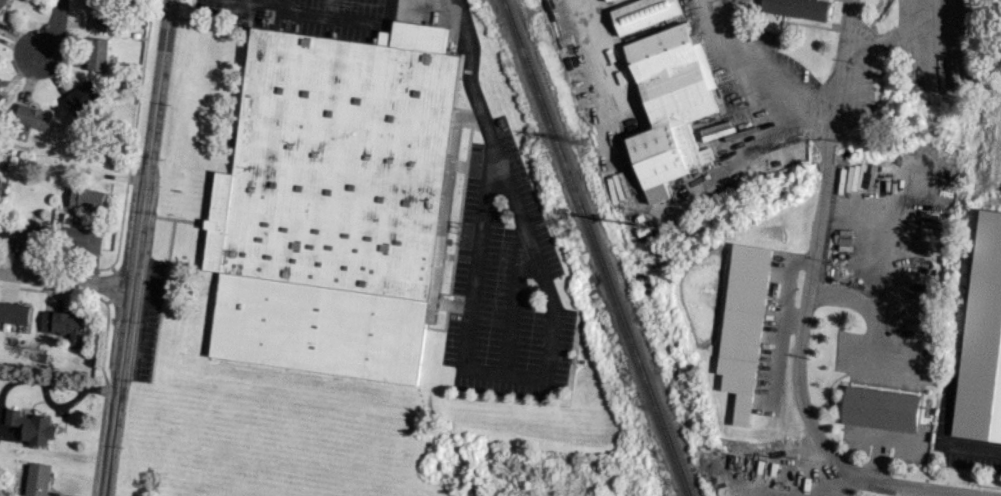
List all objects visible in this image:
building: (604, 0)
railway: (477, 2)
building: (1, 4)
road: (411, 7)
building: (796, 8)
building: (101, 15)
building: (641, 15)
road: (49, 31)
building: (96, 54)
road: (605, 57)
road: (842, 71)
road: (753, 89)
building: (0, 93)
building: (80, 97)
building: (667, 107)
building: (32, 117)
power tower: (583, 142)
road: (716, 176)
building: (86, 199)
building: (334, 201)
power tower: (555, 224)
building: (25, 233)
building: (86, 238)
road: (135, 248)
railway: (595, 248)
road: (65, 280)
road: (867, 308)
building: (14, 313)
road: (805, 316)
building: (739, 317)
building: (62, 324)
building: (881, 408)
building: (31, 427)
road: (973, 448)
road: (878, 457)
building: (37, 479)
road: (918, 486)
road: (902, 490)

